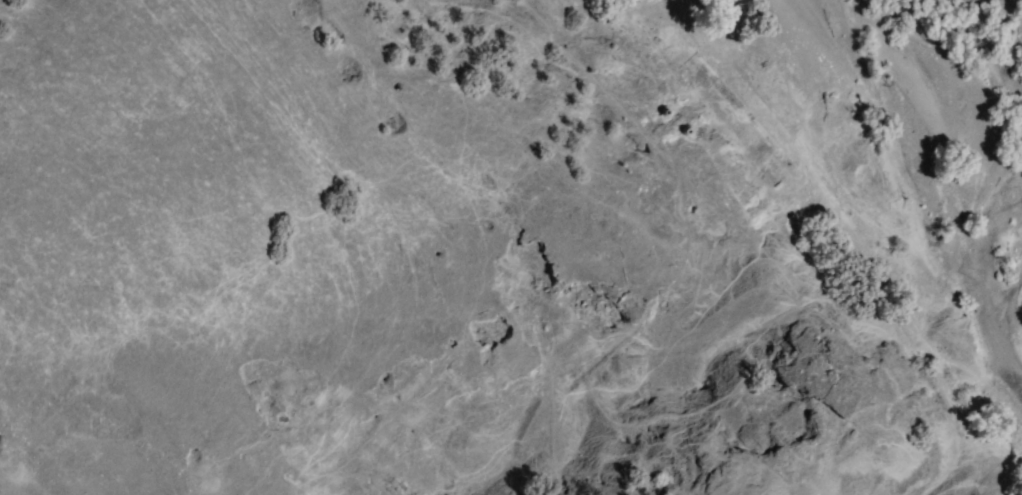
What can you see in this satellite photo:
river: (995, 69)
river: (981, 326)

